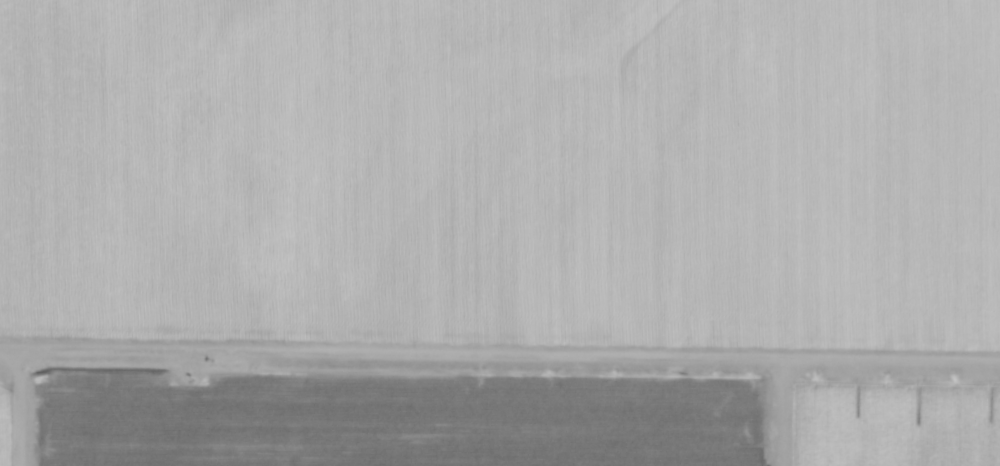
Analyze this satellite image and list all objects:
crop: (500, 233)
road: (840, 358)

